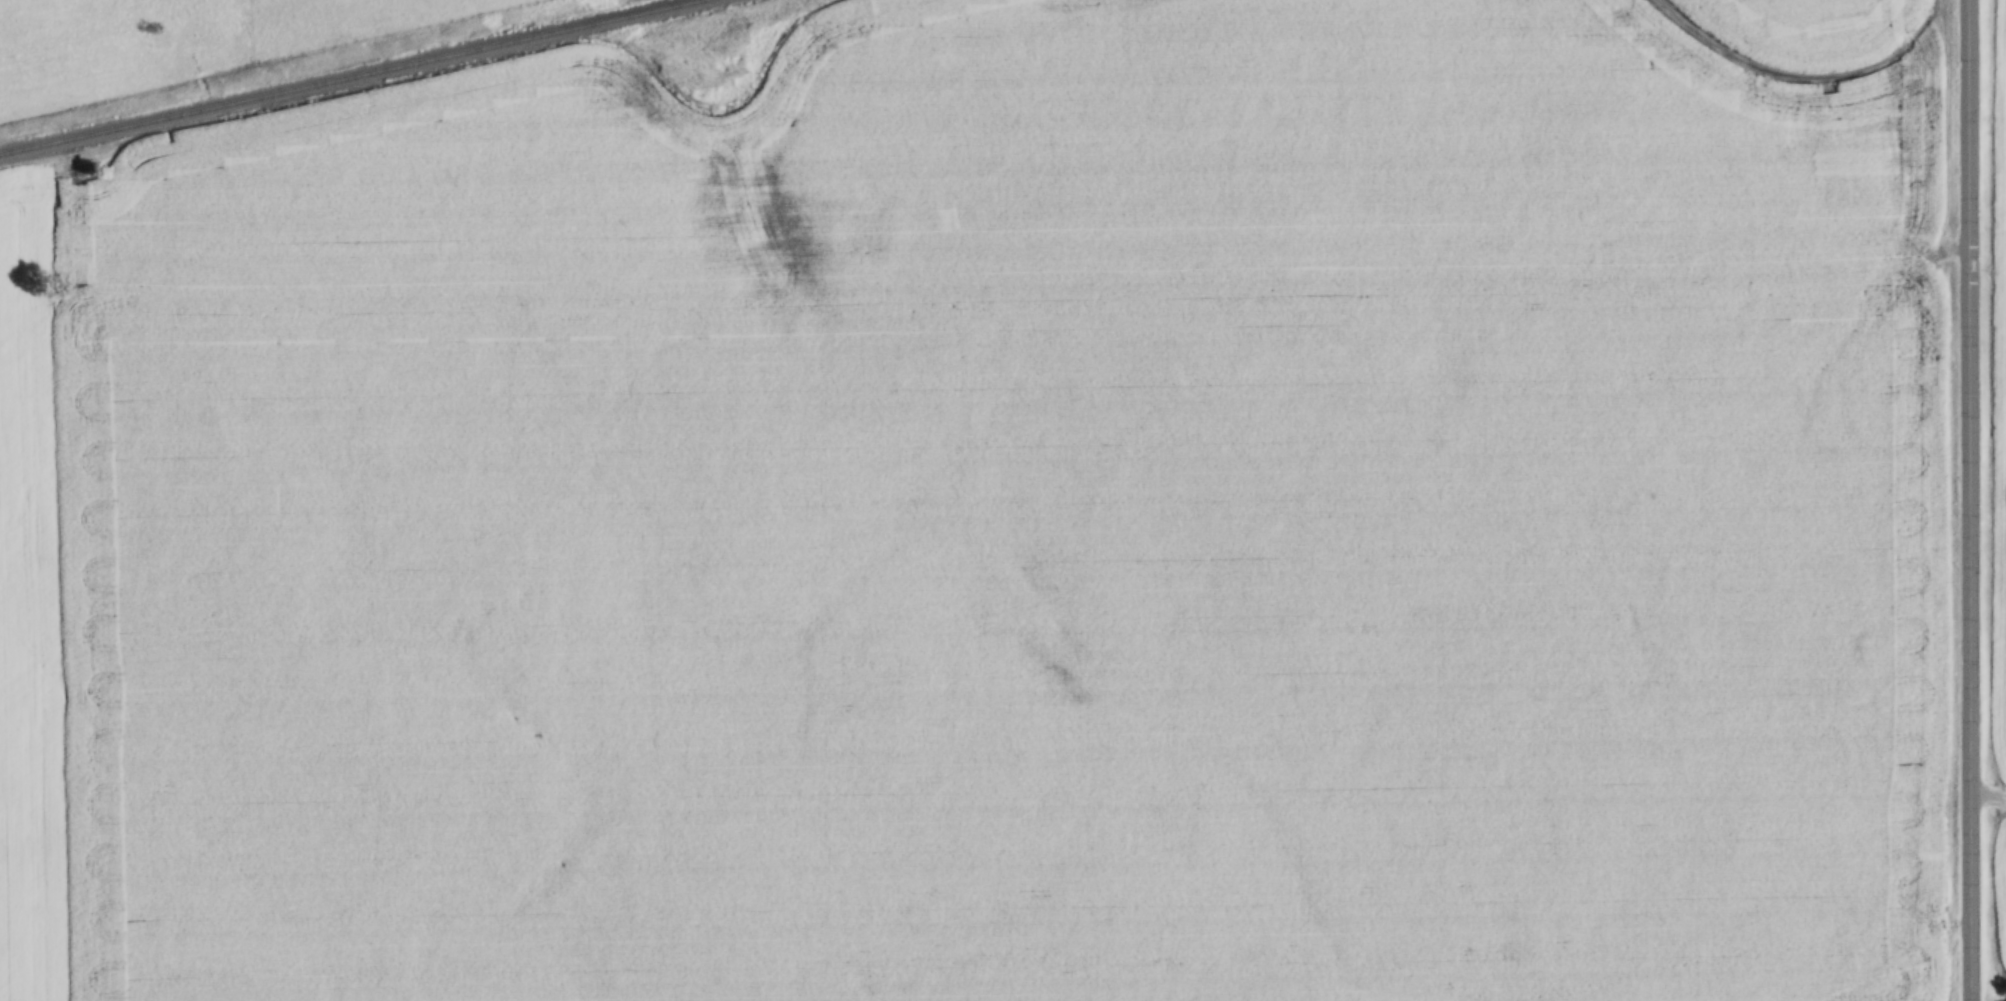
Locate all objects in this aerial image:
railway: (349, 76)
road: (1976, 500)

